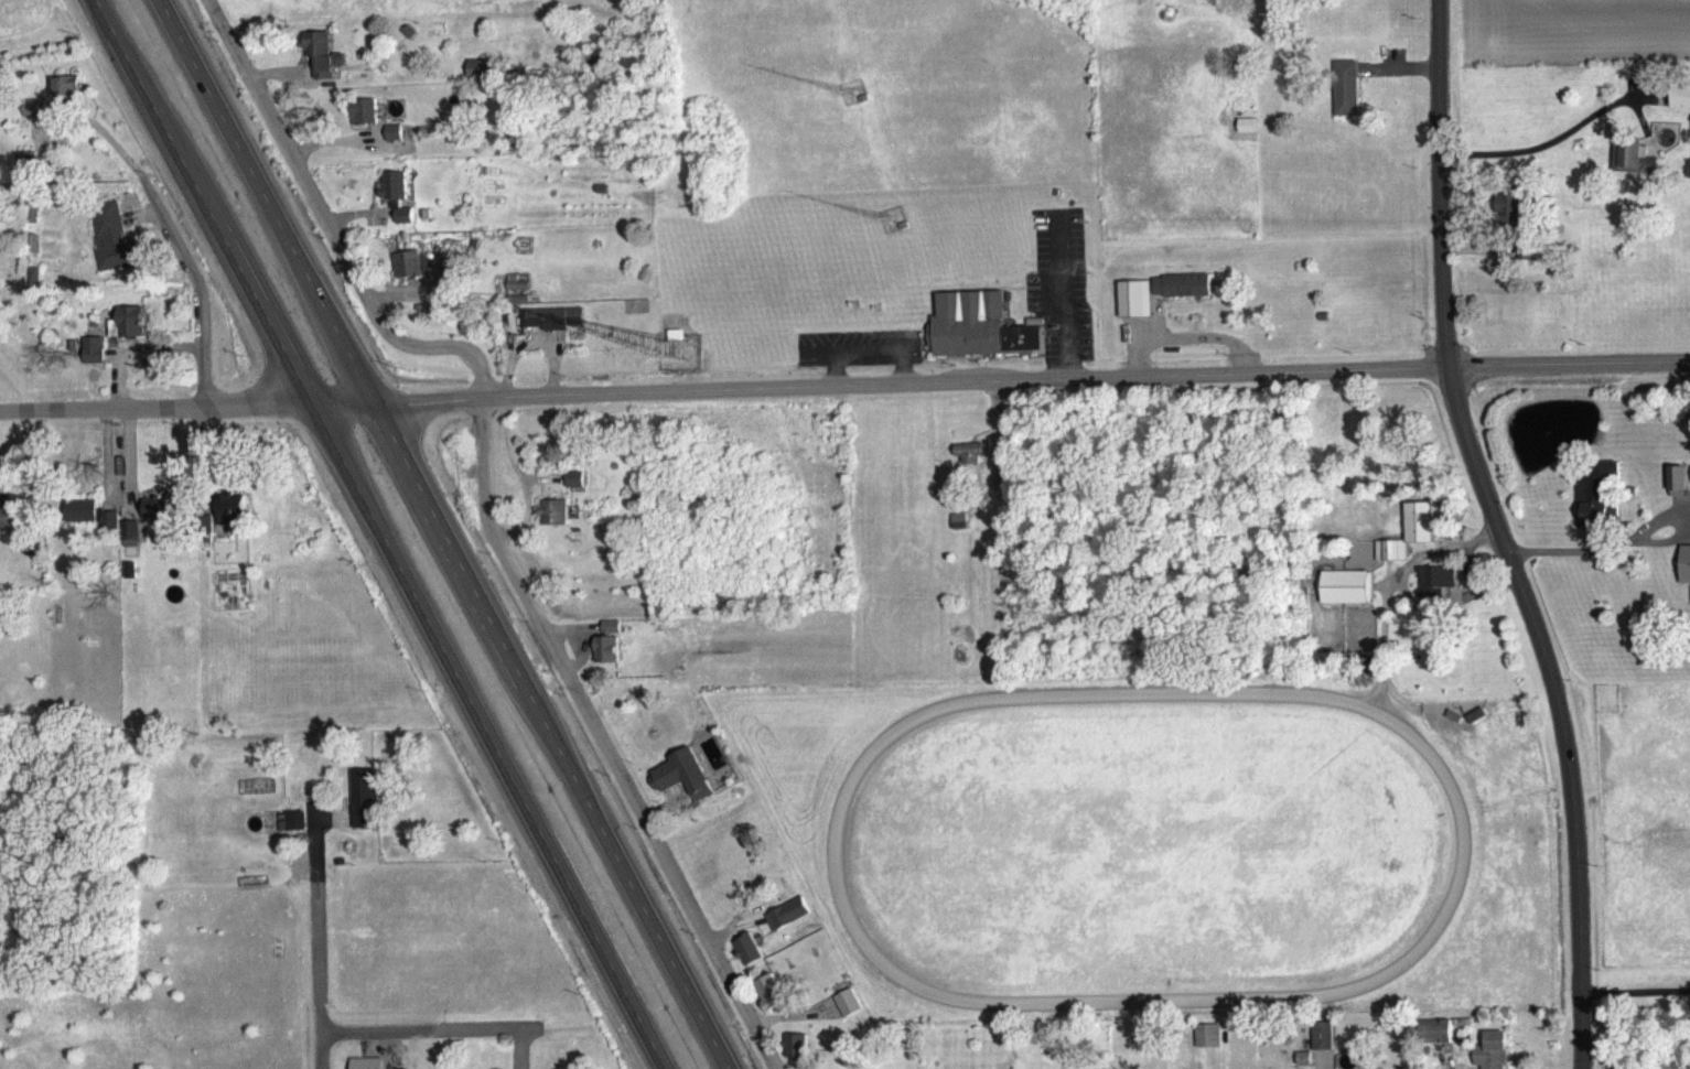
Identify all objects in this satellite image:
building: (1263, 0)
building: (323, 67)
building: (1346, 100)
building: (67, 102)
building: (1681, 109)
building: (364, 125)
road: (1544, 142)
building: (394, 144)
building: (1633, 166)
building: (397, 208)
building: (1508, 222)
building: (32, 224)
road: (182, 246)
building: (112, 249)
building: (421, 278)
building: (516, 295)
building: (1182, 298)
building: (1134, 311)
building: (551, 331)
building: (130, 334)
building: (978, 339)
road: (136, 347)
building: (94, 361)
road: (844, 382)
building: (969, 465)
building: (574, 492)
building: (1677, 493)
building: (1597, 503)
road: (486, 511)
building: (155, 520)
building: (232, 521)
building: (553, 525)
building: (90, 526)
building: (11, 529)
road: (378, 532)
road: (448, 534)
building: (1419, 534)
road: (1501, 534)
building: (130, 546)
road: (1589, 549)
building: (1391, 562)
building: (1684, 576)
road: (1387, 585)
building: (1434, 594)
building: (1347, 600)
building: (611, 639)
building: (605, 661)
building: (681, 787)
building: (364, 811)
building: (787, 926)
road: (315, 936)
building: (747, 961)
road: (1635, 990)
building: (771, 1005)
building: (847, 1015)
road: (429, 1026)
building: (1435, 1044)
building: (1207, 1048)
building: (1322, 1048)
building: (796, 1057)
building: (1492, 1057)

